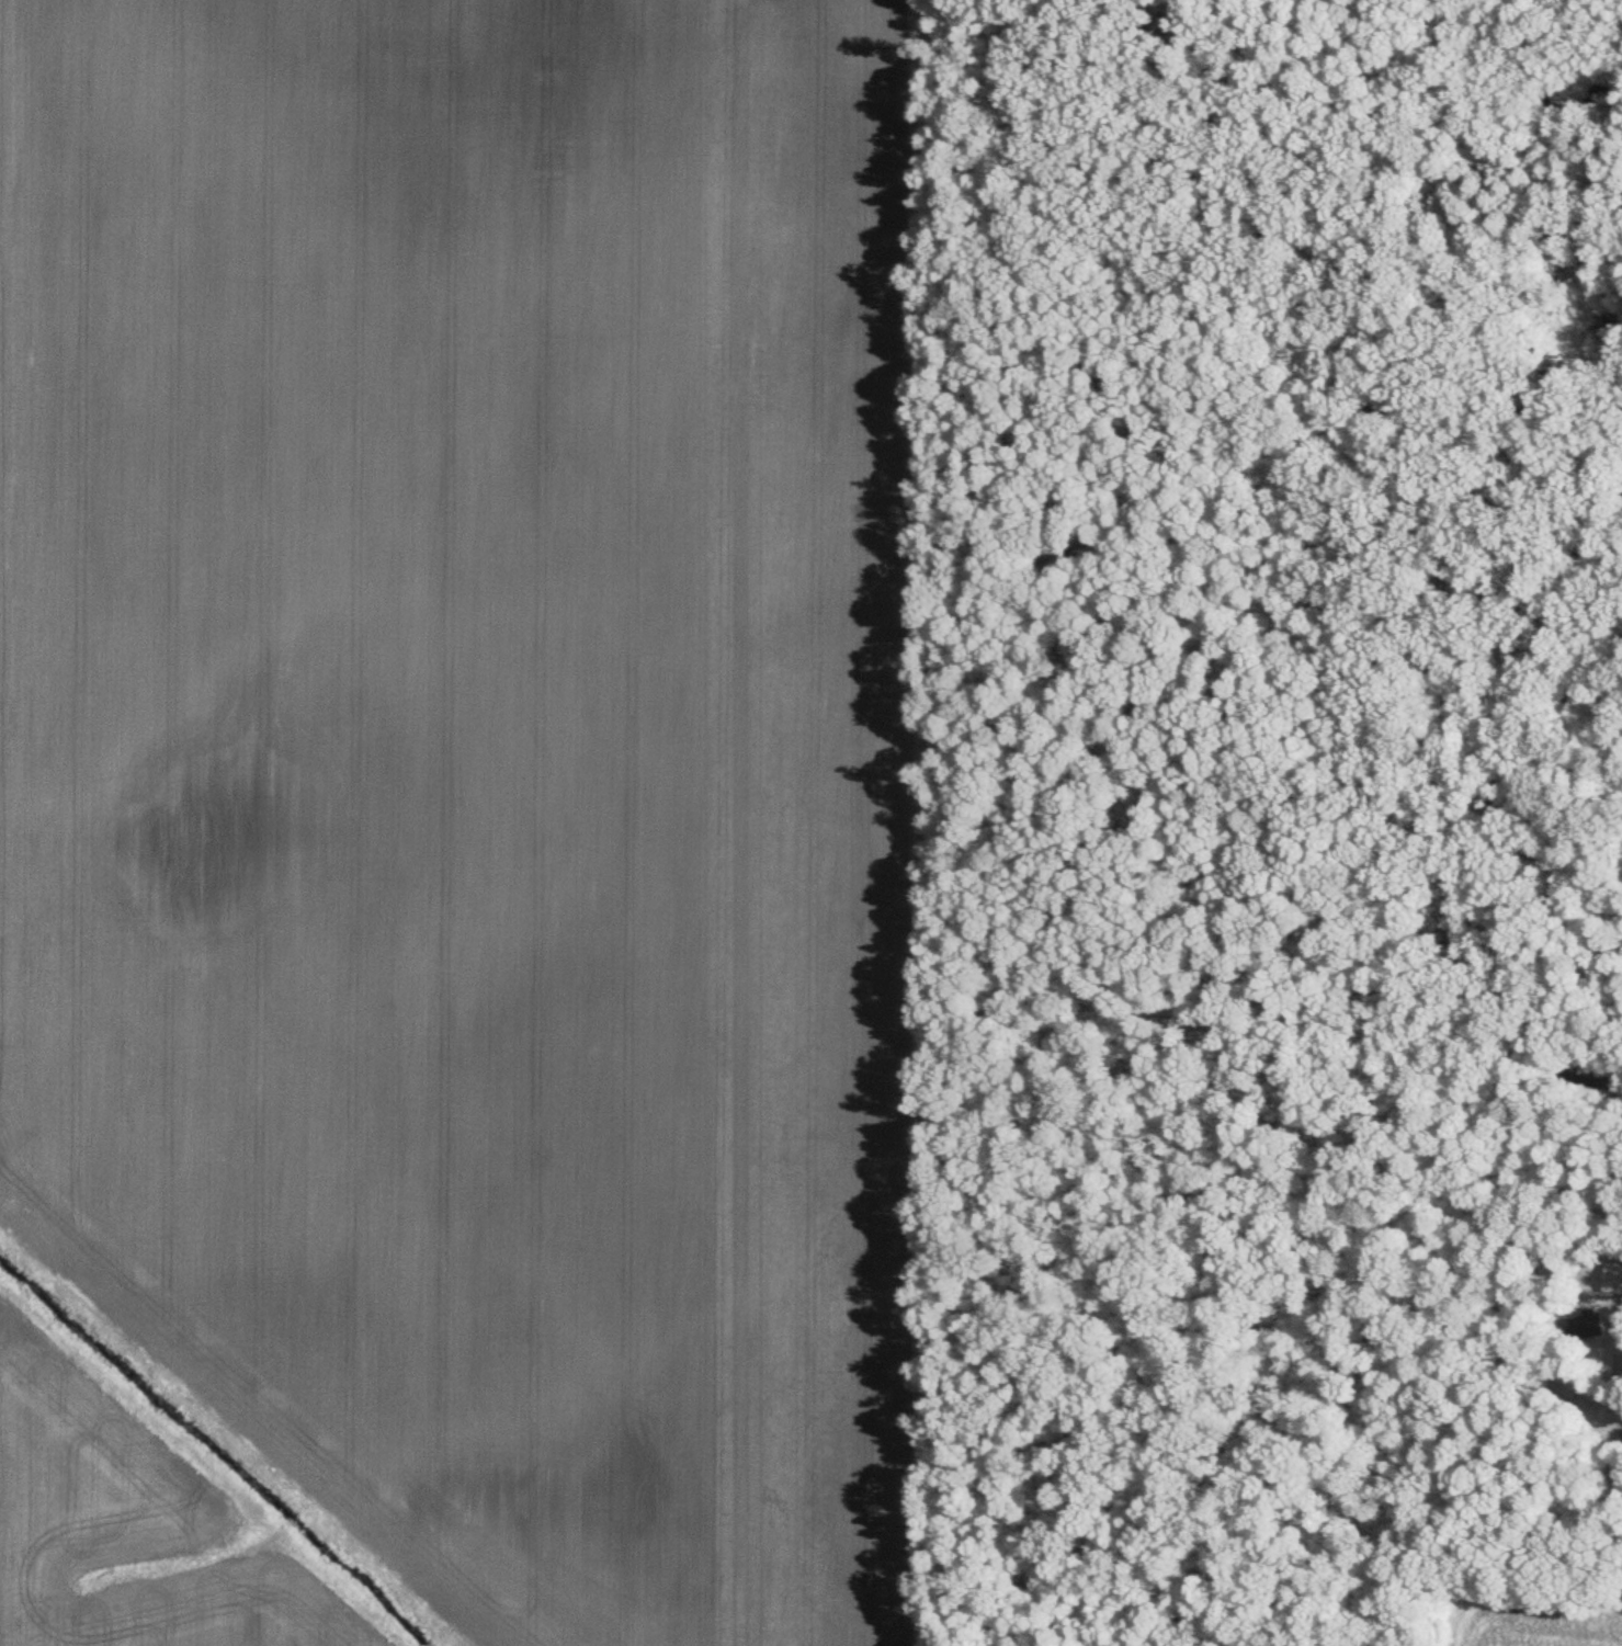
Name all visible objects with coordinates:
building: (1613, 1279)
building: (1584, 1325)
road: (1619, 1366)

